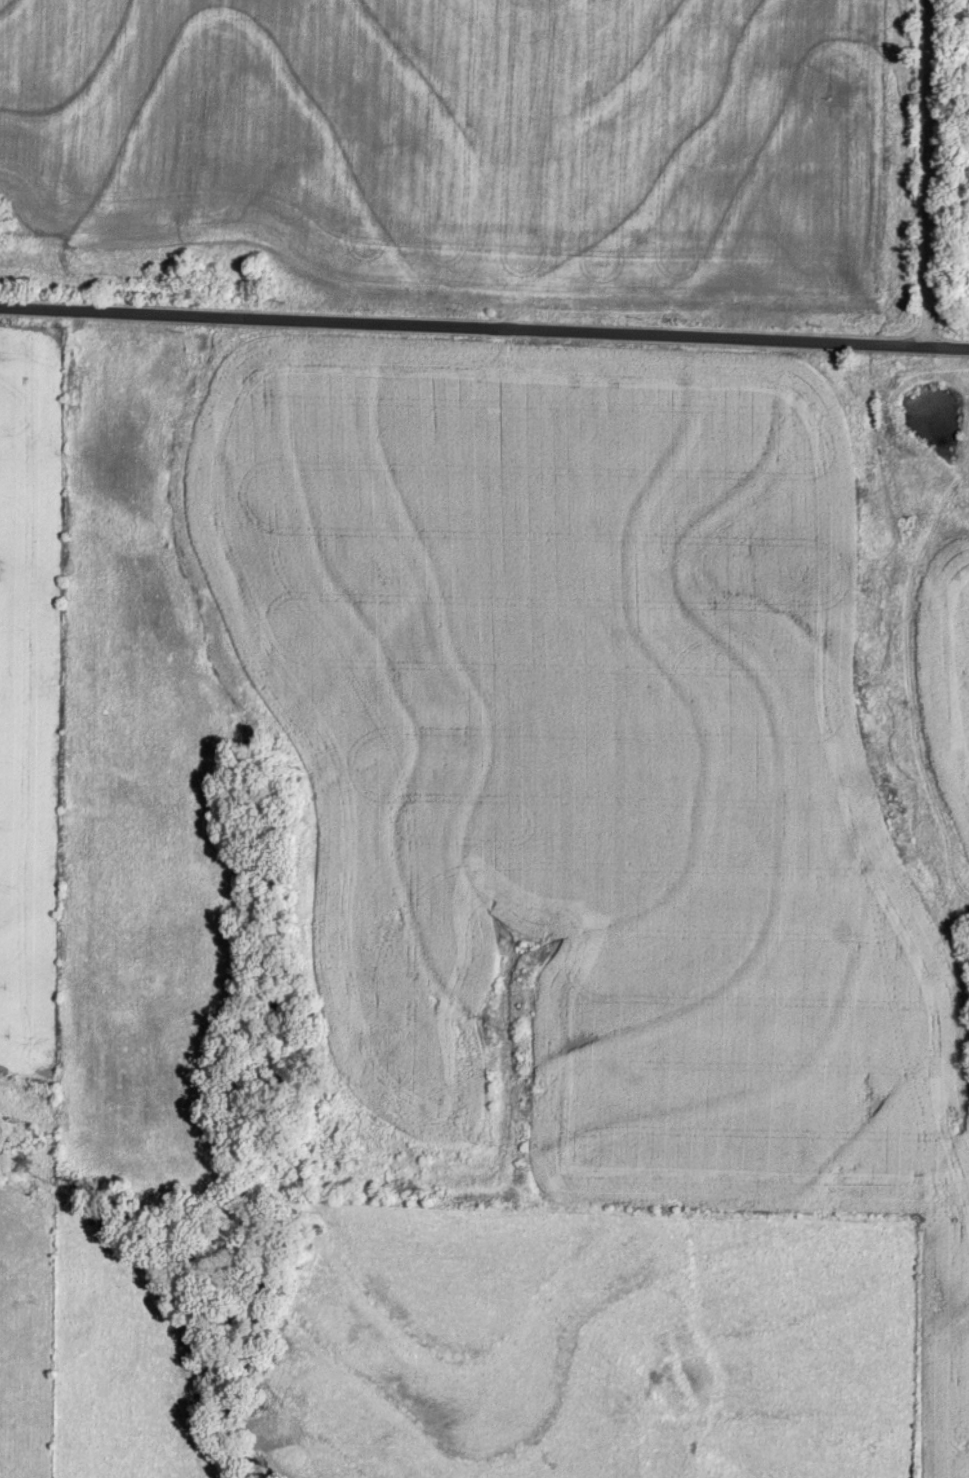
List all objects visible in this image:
road: (928, 173)
road: (484, 326)

